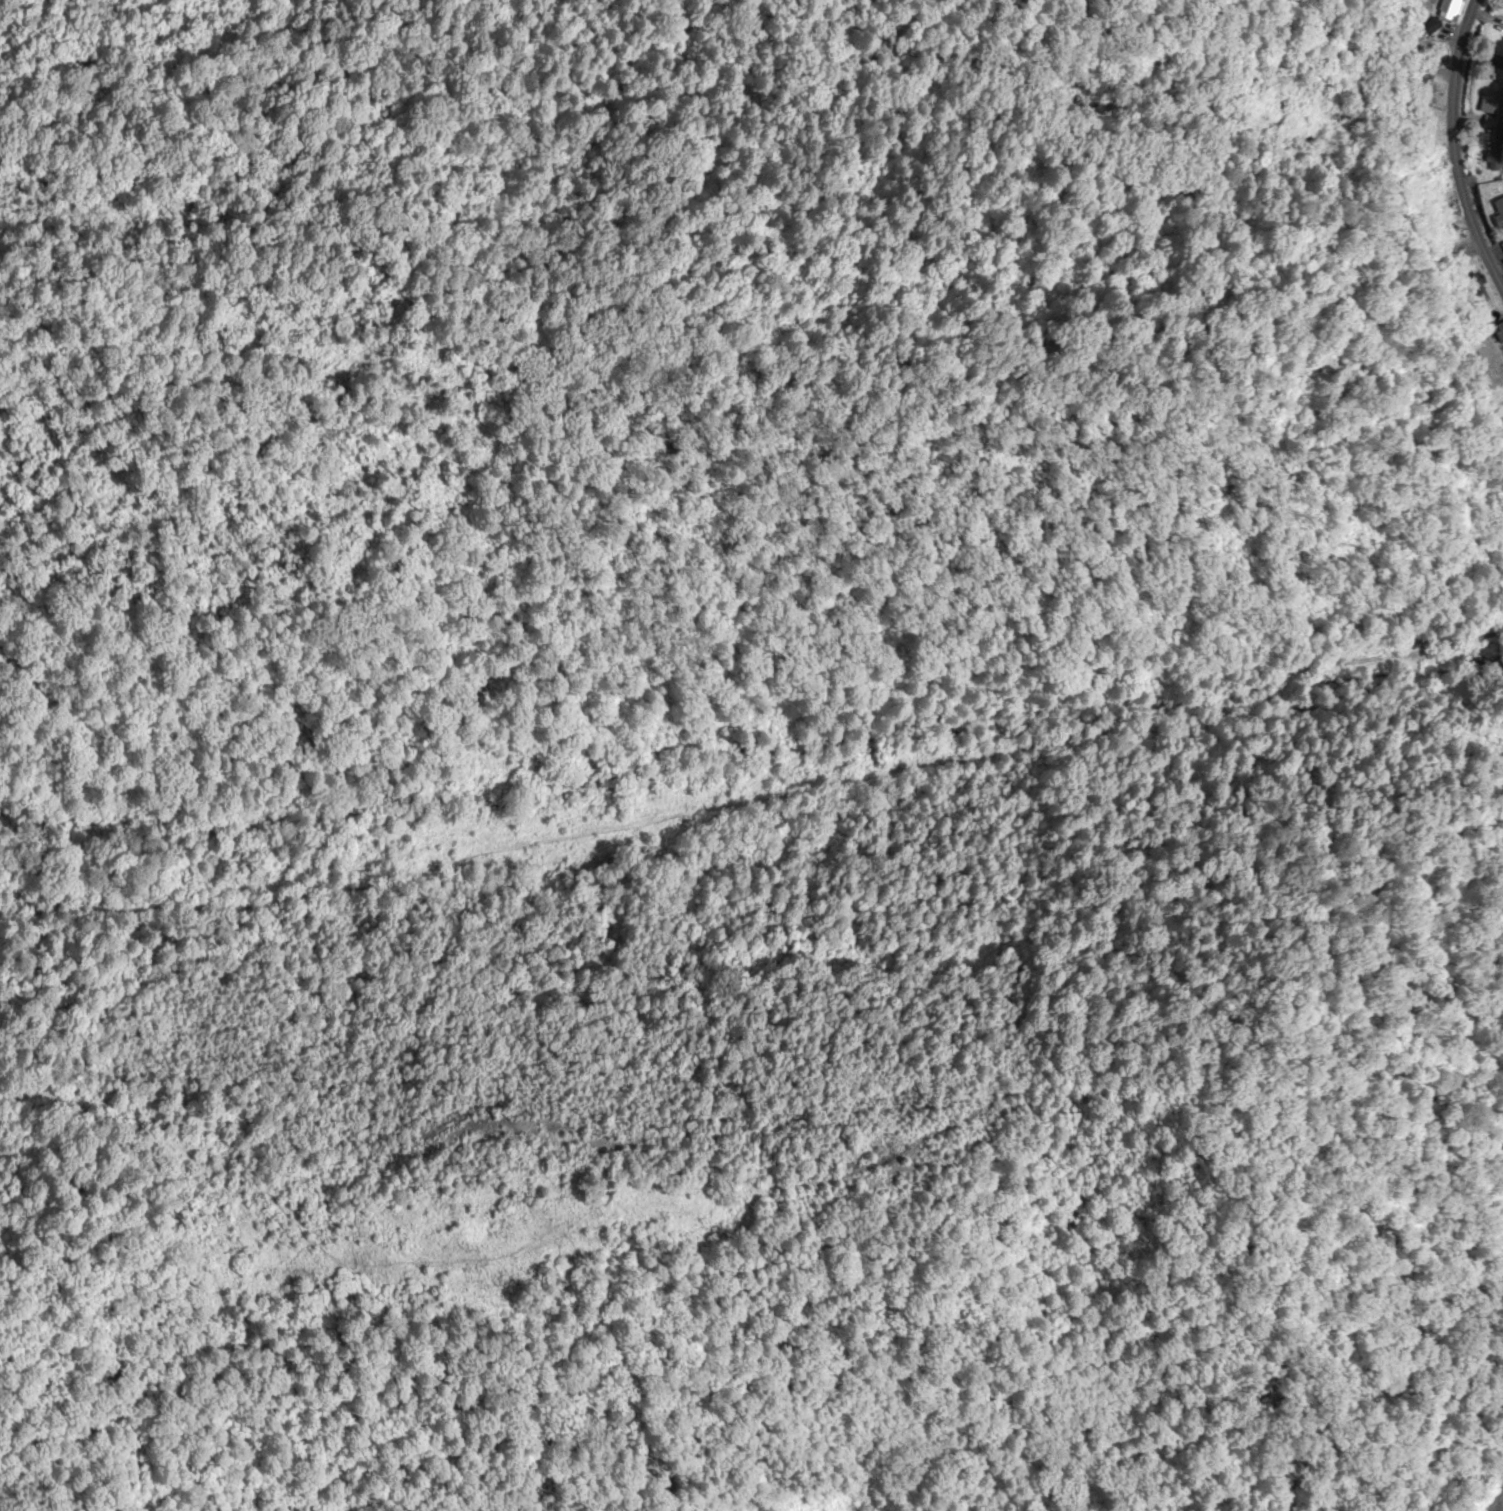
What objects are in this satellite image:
building: (1449, 8)
building: (1492, 104)
building: (1282, 106)
road: (1454, 144)
building: (1436, 182)
building: (1496, 214)
building: (1478, 293)
road: (1261, 309)
building: (1497, 332)

